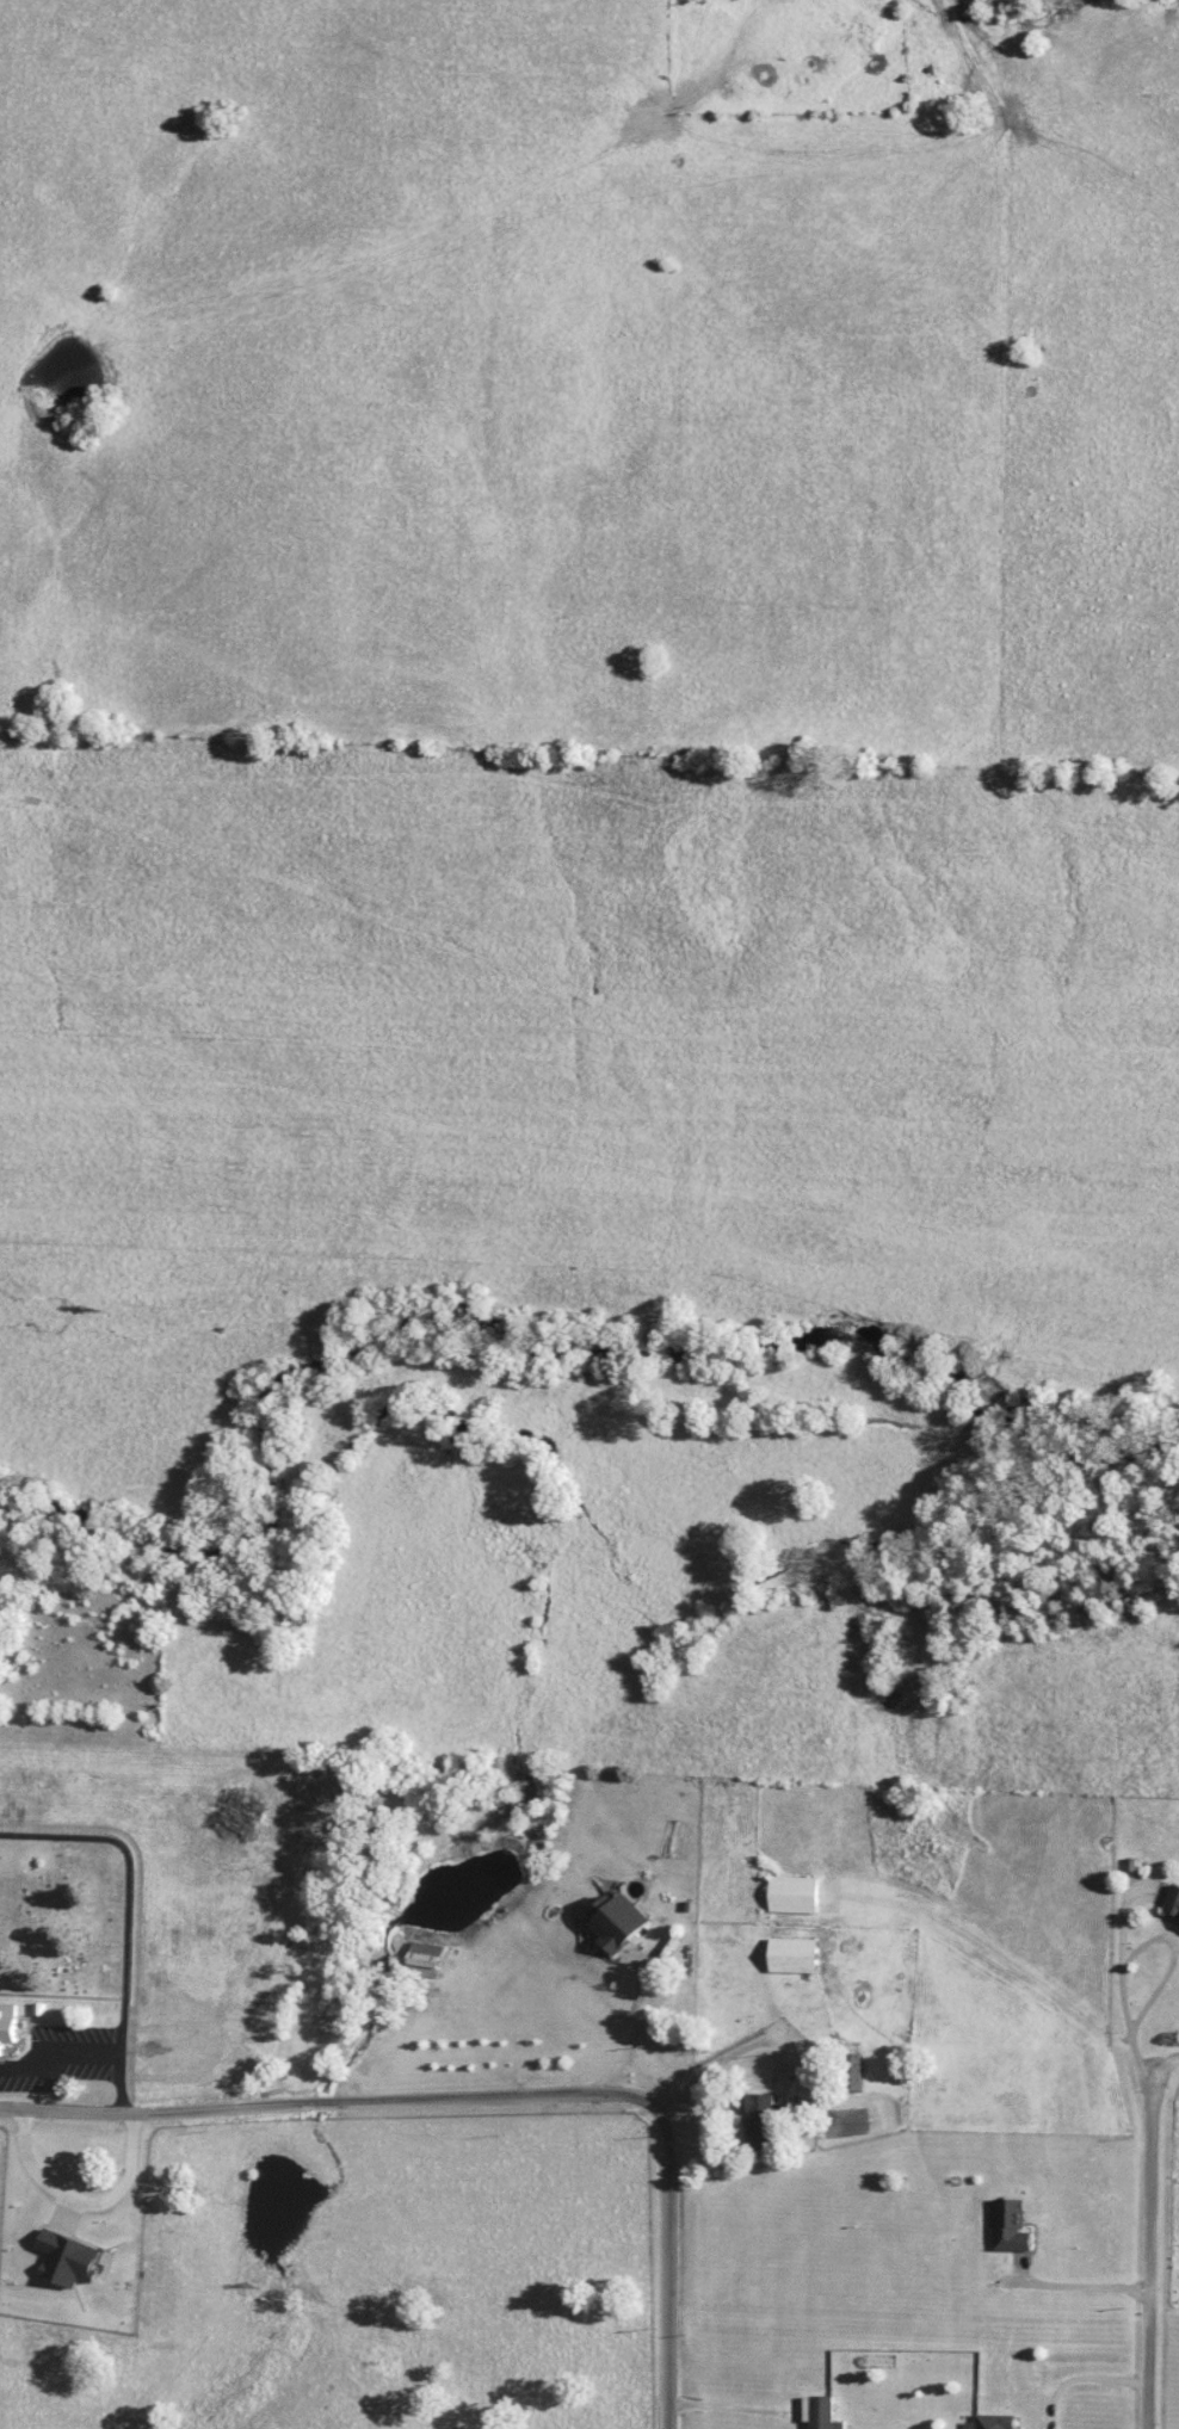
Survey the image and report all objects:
building: (795, 1893)
building: (1173, 1902)
building: (621, 1920)
road: (1142, 1947)
building: (795, 1954)
road: (640, 2023)
building: (10, 2027)
road: (1168, 2065)
road: (710, 2070)
road: (493, 2099)
building: (763, 2121)
building: (1012, 2224)
road: (1155, 2250)
road: (1085, 2283)
building: (821, 2412)
building: (983, 2428)

